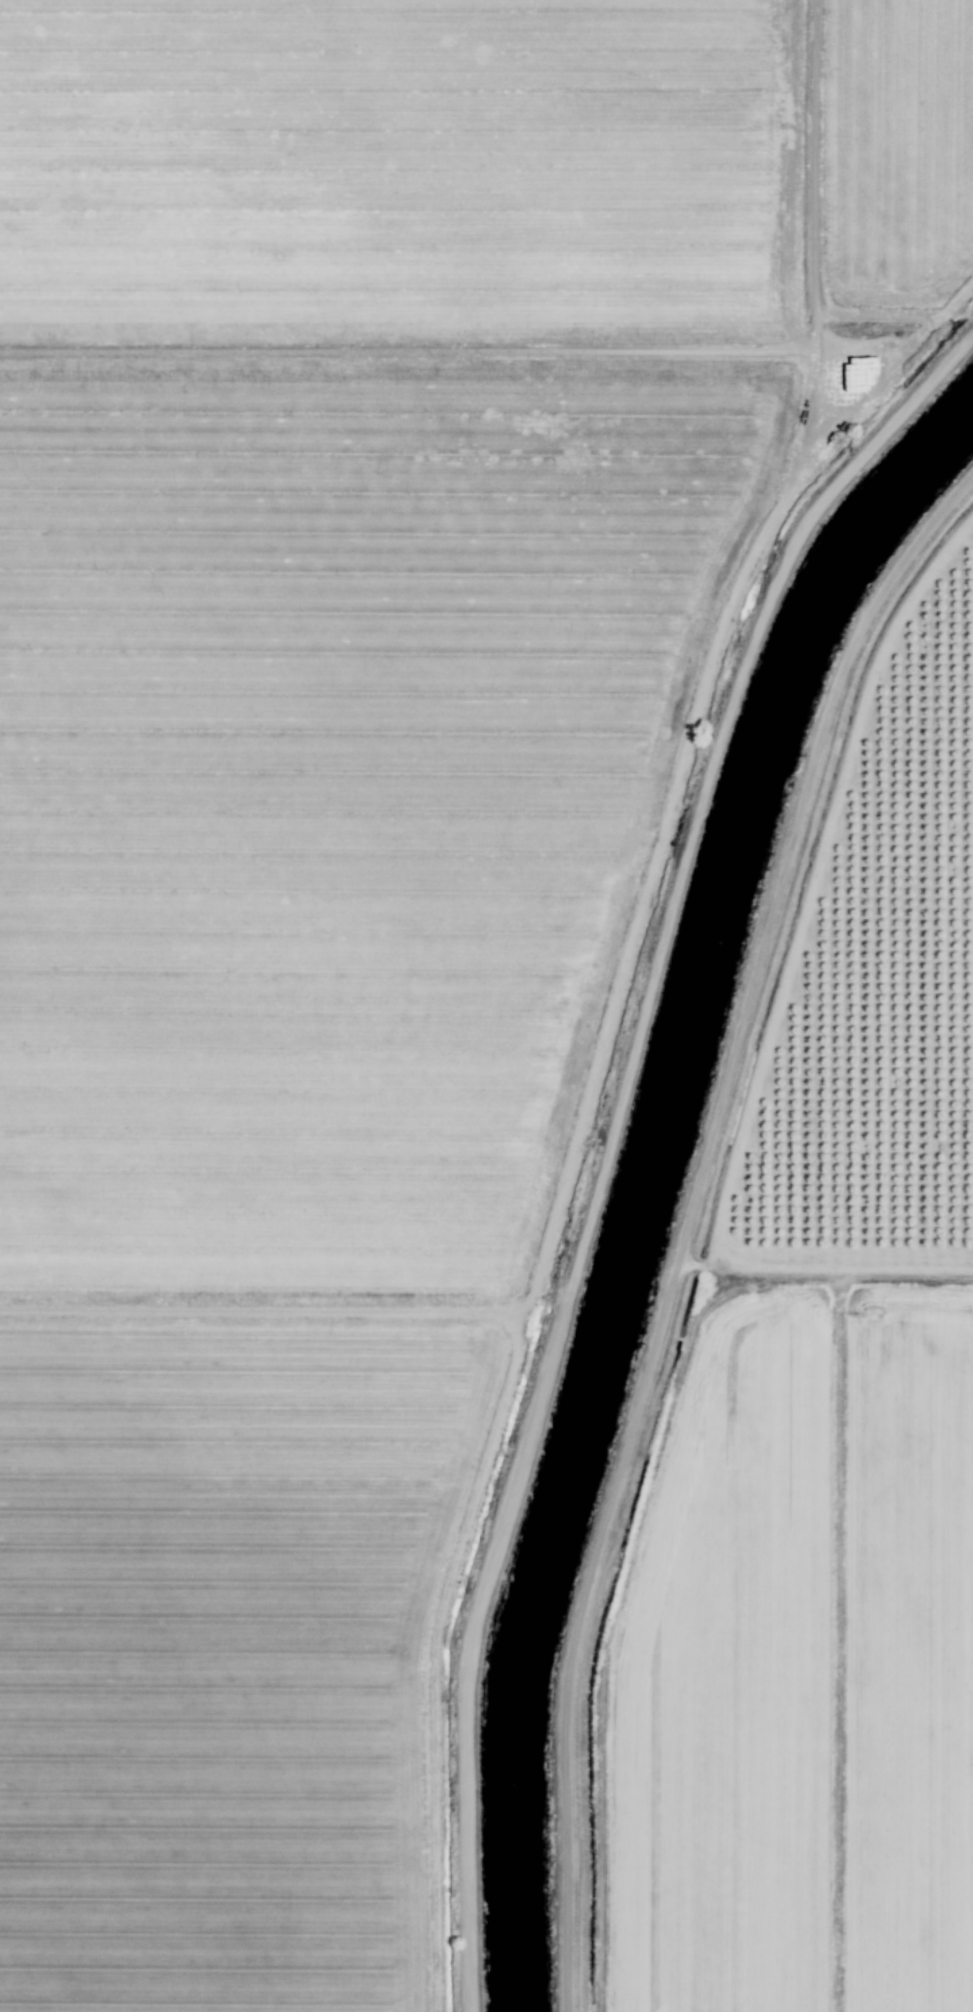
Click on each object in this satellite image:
road: (688, 1222)

